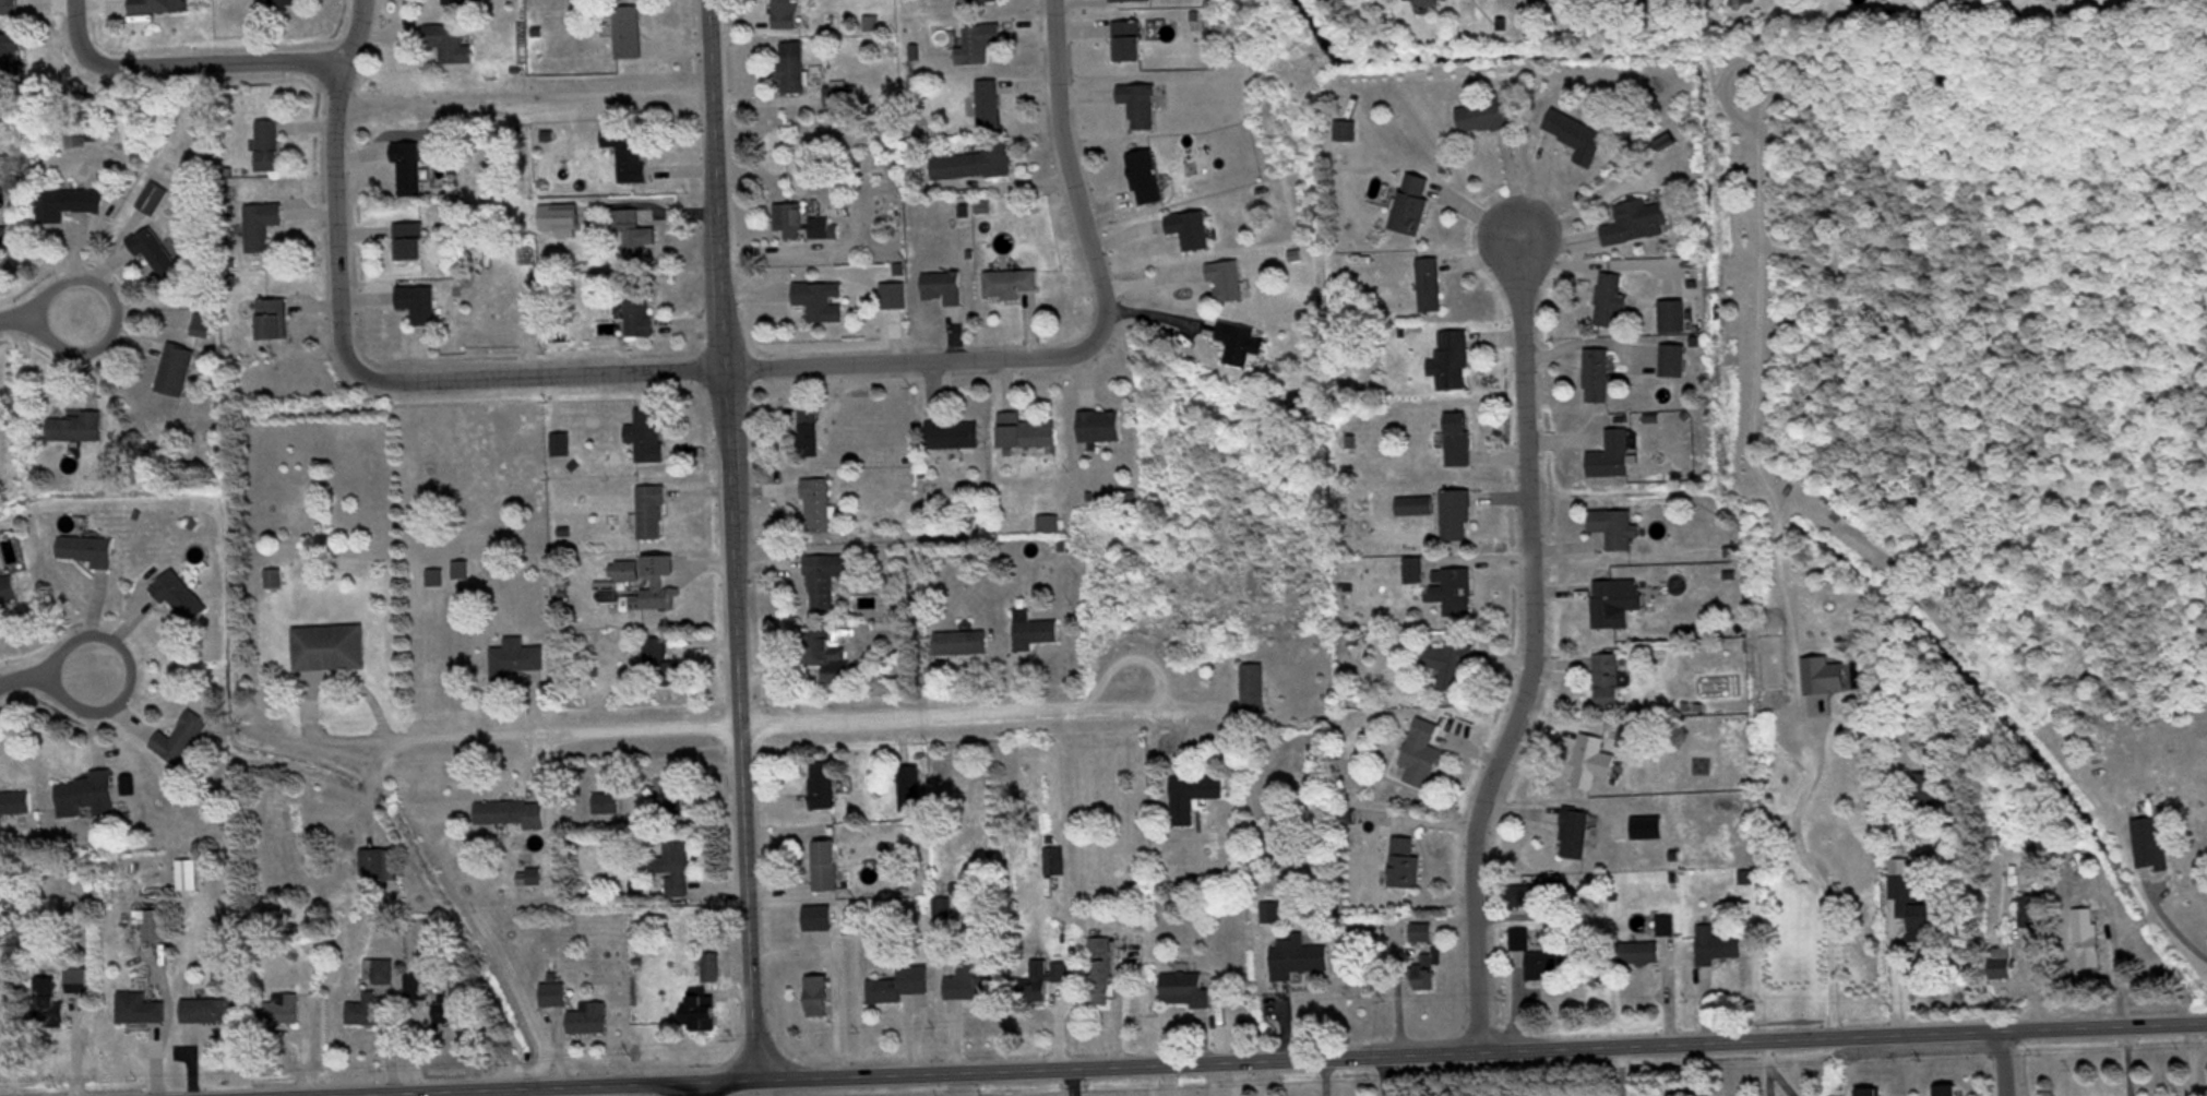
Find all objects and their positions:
building: (452, 0)
building: (1111, 0)
building: (1420, 0)
building: (1745, 0)
building: (281, 1)
building: (150, 4)
building: (9, 5)
building: (783, 12)
building: (625, 29)
building: (1125, 38)
building: (446, 40)
building: (976, 41)
building: (8, 61)
building: (790, 64)
road: (181, 67)
building: (839, 91)
building: (987, 100)
building: (1136, 102)
building: (1481, 114)
building: (1343, 128)
building: (1575, 133)
building: (265, 143)
building: (623, 150)
building: (974, 160)
building: (405, 165)
road: (1069, 172)
building: (1143, 175)
building: (65, 201)
building: (1409, 201)
building: (788, 217)
building: (556, 218)
building: (1634, 219)
building: (259, 223)
building: (819, 226)
building: (1189, 227)
building: (633, 230)
building: (2, 236)
building: (407, 238)
building: (152, 250)
building: (1224, 278)
building: (1009, 282)
building: (1427, 283)
building: (941, 285)
building: (891, 294)
building: (1608, 298)
building: (815, 299)
building: (416, 301)
building: (635, 307)
road: (40, 314)
building: (1670, 314)
building: (270, 318)
building: (1238, 341)
building: (1451, 359)
building: (1671, 359)
road: (910, 360)
building: (172, 369)
road: (350, 369)
building: (1595, 373)
building: (1297, 401)
building: (1097, 425)
building: (73, 426)
building: (807, 429)
building: (1023, 430)
building: (950, 432)
building: (644, 433)
building: (1456, 439)
building: (558, 442)
building: (1609, 454)
building: (814, 503)
building: (648, 511)
building: (1453, 513)
building: (1613, 526)
road: (731, 538)
building: (85, 548)
building: (458, 568)
building: (432, 575)
building: (822, 577)
building: (644, 580)
building: (1440, 582)
building: (7, 587)
building: (177, 594)
building: (1612, 600)
building: (1030, 628)
building: (957, 640)
road: (1528, 644)
building: (327, 645)
building: (824, 652)
building: (513, 656)
building: (659, 660)
building: (1447, 663)
road: (45, 670)
building: (1606, 679)
building: (1251, 686)
building: (1956, 703)
road: (730, 718)
building: (1626, 736)
building: (179, 737)
building: (1420, 753)
building: (1589, 760)
building: (820, 783)
building: (908, 786)
building: (85, 794)
building: (1191, 794)
building: (14, 801)
building: (604, 801)
building: (508, 811)
building: (1573, 831)
building: (2148, 842)
building: (1052, 858)
building: (1403, 860)
building: (823, 863)
building: (671, 865)
building: (1854, 865)
building: (186, 873)
road: (1811, 873)
building: (1911, 900)
building: (941, 909)
building: (2032, 909)
building: (1269, 910)
building: (815, 916)
building: (151, 924)
building: (1665, 924)
building: (1420, 931)
building: (2086, 942)
building: (1717, 946)
building: (1636, 951)
building: (2002, 952)
building: (1296, 954)
building: (708, 965)
building: (377, 968)
building: (1425, 968)
building: (1099, 969)
building: (1041, 977)
building: (75, 978)
building: (968, 981)
building: (897, 982)
building: (415, 985)
building: (1183, 987)
building: (551, 992)
building: (815, 993)
building: (45, 1002)
building: (138, 1006)
building: (279, 1006)
building: (207, 1008)
building: (361, 1008)
building: (445, 1010)
building: (697, 1011)
building: (586, 1016)
road: (1238, 1058)
road: (2002, 1062)
road: (699, 1088)
building: (1944, 1088)
building: (1866, 1089)

